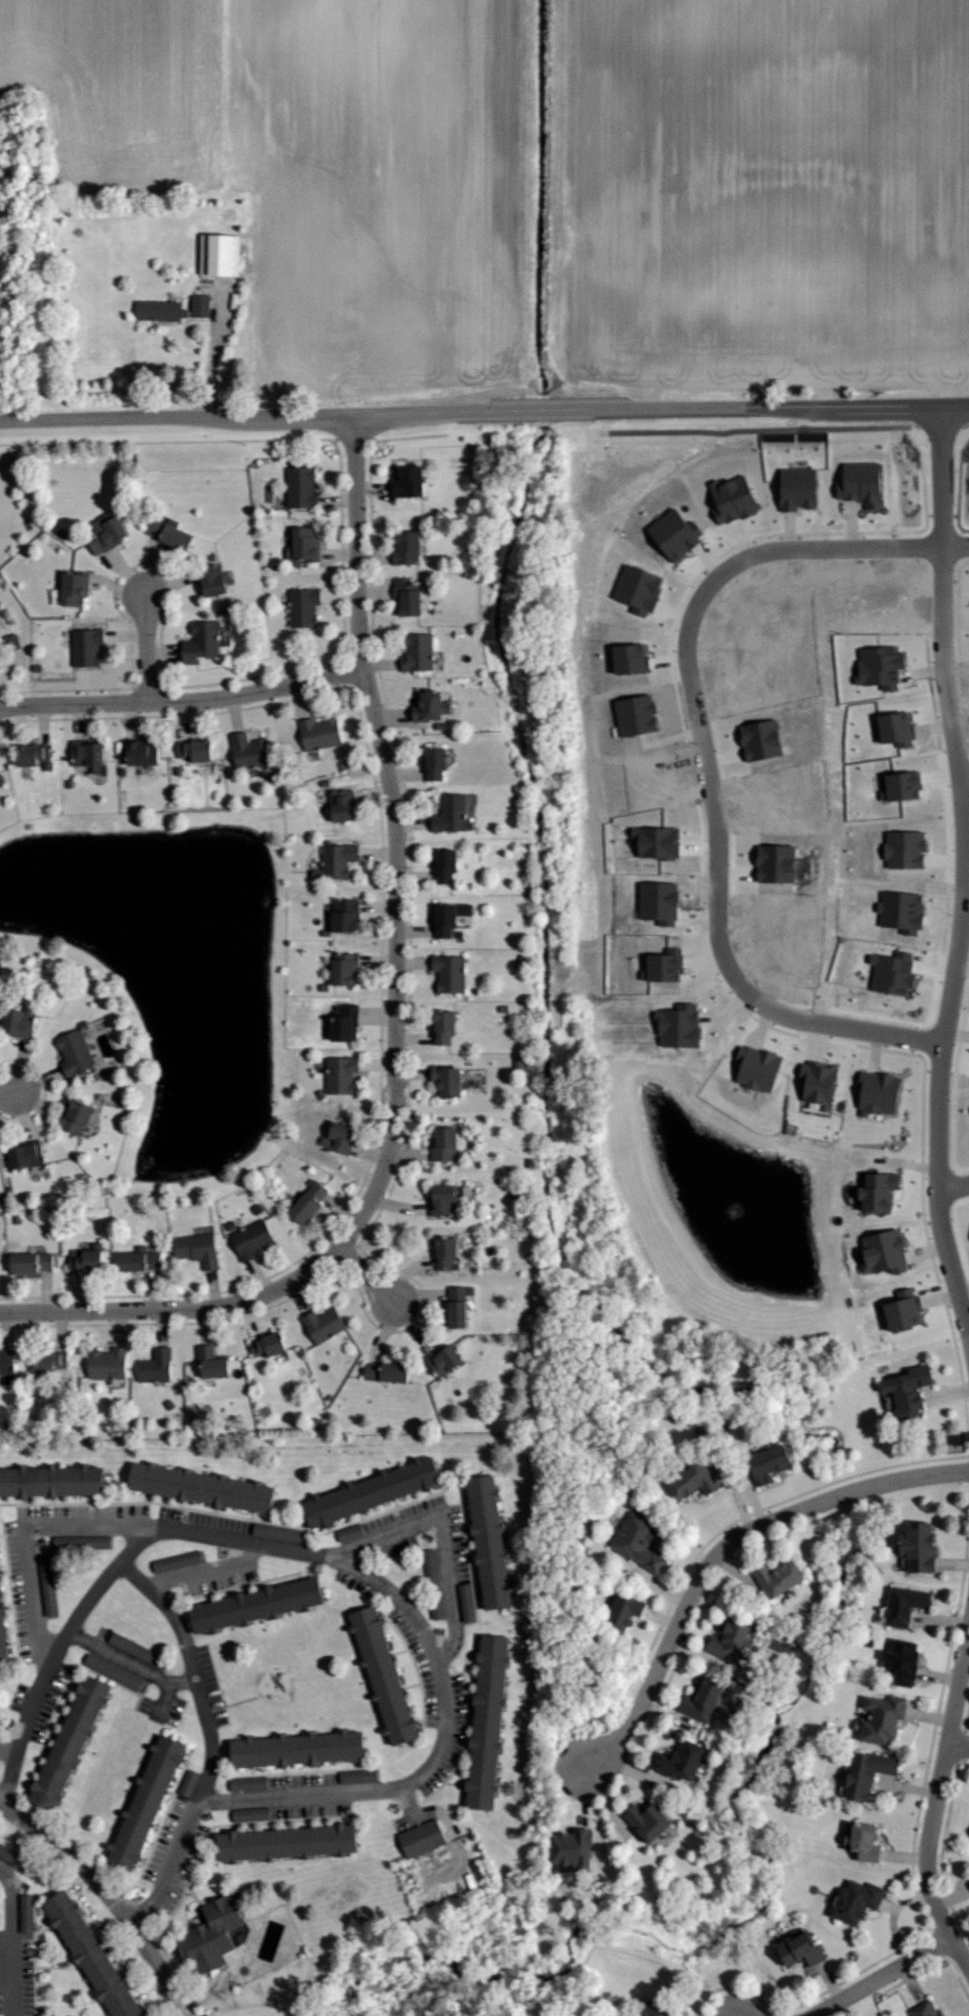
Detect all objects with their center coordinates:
building: (226, 255)
building: (202, 306)
building: (162, 311)
road: (212, 358)
road: (484, 411)
building: (410, 481)
building: (303, 488)
road: (938, 504)
building: (678, 534)
building: (173, 535)
building: (113, 536)
building: (307, 544)
building: (411, 548)
building: (217, 581)
building: (642, 589)
building: (77, 590)
building: (409, 598)
building: (306, 607)
road: (686, 629)
building: (204, 642)
building: (89, 648)
road: (146, 648)
building: (420, 653)
building: (634, 659)
road: (182, 702)
building: (432, 707)
building: (890, 728)
building: (323, 733)
building: (764, 741)
building: (199, 750)
building: (252, 752)
building: (91, 754)
building: (146, 754)
building: (36, 755)
building: (439, 763)
road: (966, 779)
building: (896, 785)
building: (344, 806)
building: (453, 814)
building: (901, 849)
building: (338, 862)
building: (779, 864)
building: (449, 866)
building: (348, 916)
building: (451, 918)
building: (670, 967)
building: (348, 969)
road: (953, 969)
building: (888, 971)
building: (452, 974)
road: (394, 1013)
road: (814, 1022)
building: (22, 1023)
building: (347, 1024)
building: (448, 1028)
building: (77, 1054)
building: (754, 1068)
building: (343, 1075)
building: (451, 1081)
building: (813, 1082)
building: (875, 1092)
road: (7, 1095)
building: (81, 1117)
building: (342, 1138)
building: (446, 1146)
building: (29, 1156)
building: (872, 1190)
road: (954, 1190)
building: (446, 1200)
building: (311, 1204)
building: (968, 1224)
building: (878, 1251)
building: (441, 1253)
road: (365, 1274)
building: (450, 1306)
building: (897, 1309)
building: (327, 1324)
building: (271, 1344)
building: (441, 1359)
building: (56, 1361)
building: (216, 1362)
building: (112, 1363)
building: (160, 1365)
building: (901, 1389)
building: (760, 1462)
building: (686, 1479)
building: (52, 1484)
building: (389, 1484)
building: (202, 1490)
road: (443, 1537)
building: (482, 1542)
building: (634, 1542)
building: (911, 1546)
road: (723, 1552)
building: (165, 1566)
road: (362, 1571)
road: (205, 1572)
building: (770, 1575)
road: (135, 1578)
building: (49, 1587)
road: (96, 1590)
building: (899, 1605)
building: (257, 1608)
building: (617, 1610)
building: (3, 1634)
building: (896, 1661)
road: (129, 1663)
building: (382, 1675)
building: (694, 1699)
building: (877, 1718)
building: (480, 1725)
road: (22, 1729)
building: (70, 1743)
building: (357, 1744)
road: (958, 1748)
road: (7, 1754)
building: (672, 1759)
road: (211, 1761)
building: (860, 1773)
building: (370, 1777)
building: (146, 1803)
road: (936, 1806)
building: (639, 1819)
building: (968, 1836)
building: (416, 1838)
building: (857, 1840)
building: (287, 1844)
building: (568, 1849)
building: (968, 1873)
road: (107, 1896)
building: (852, 1901)
building: (214, 1937)
road: (13, 1941)
building: (792, 1948)
road: (882, 1978)
building: (920, 2009)
building: (647, 2010)

